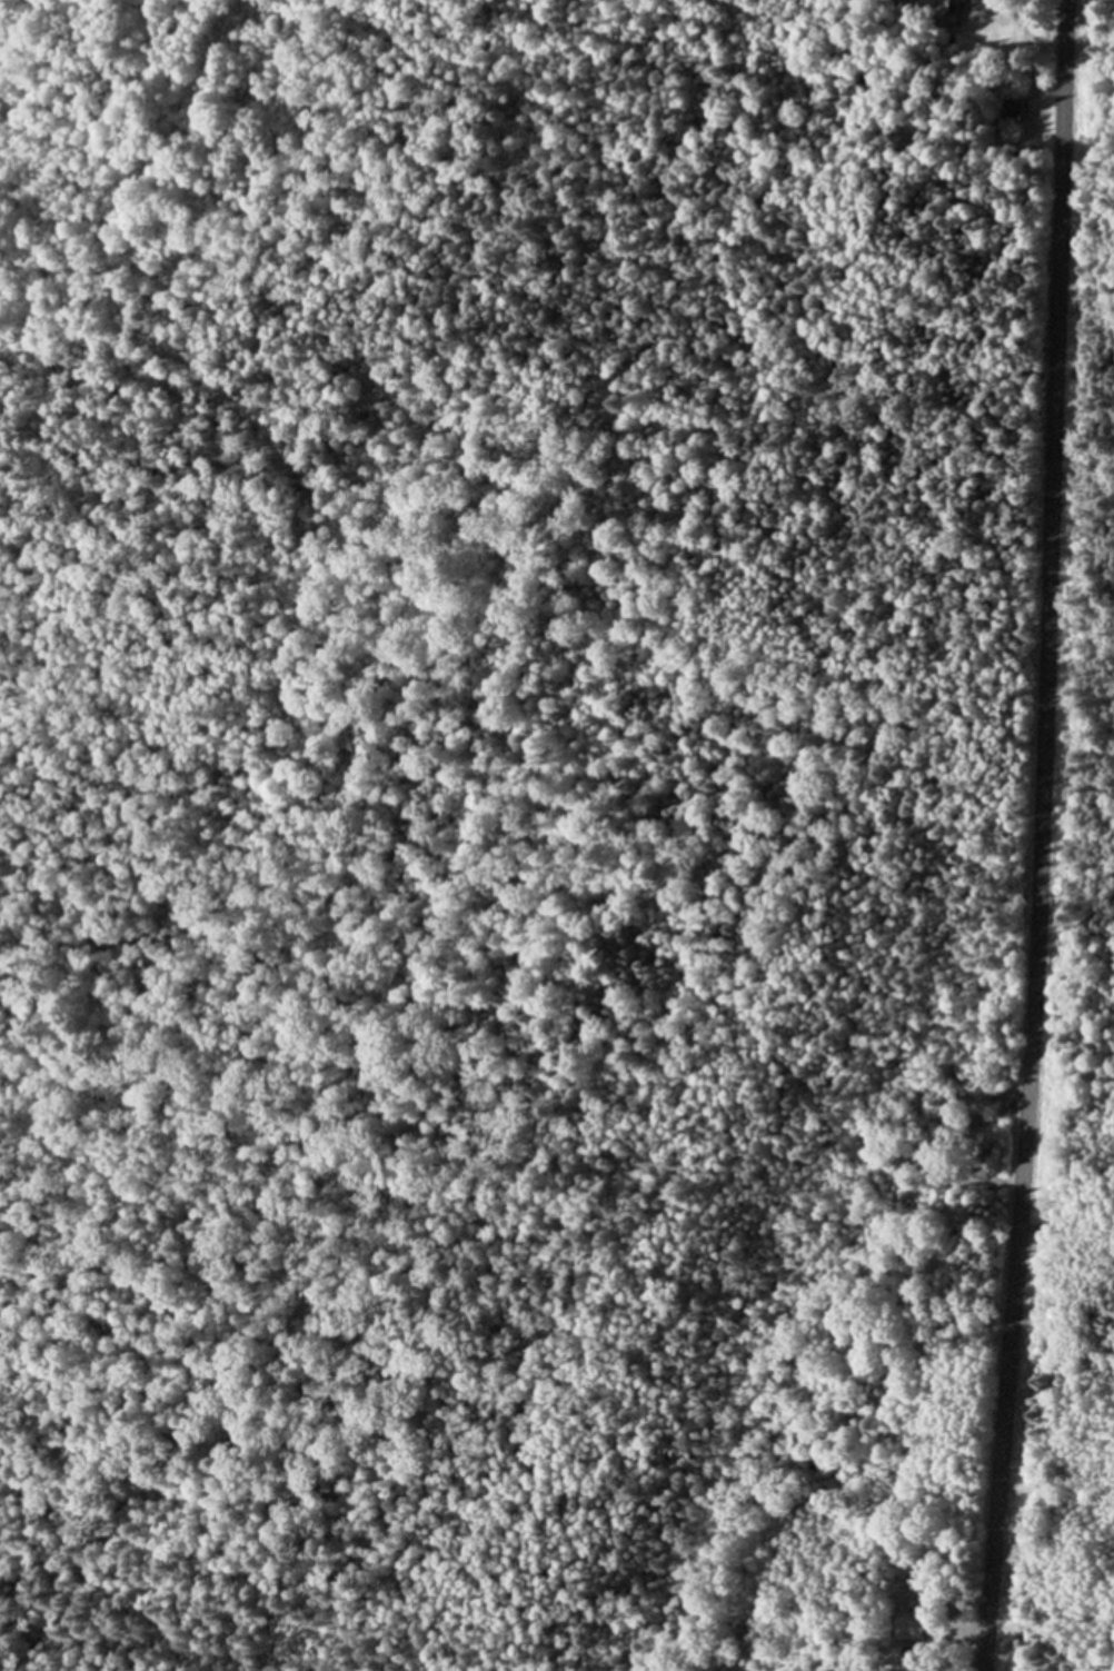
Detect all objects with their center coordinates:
building: (1015, 110)
road: (1043, 836)

